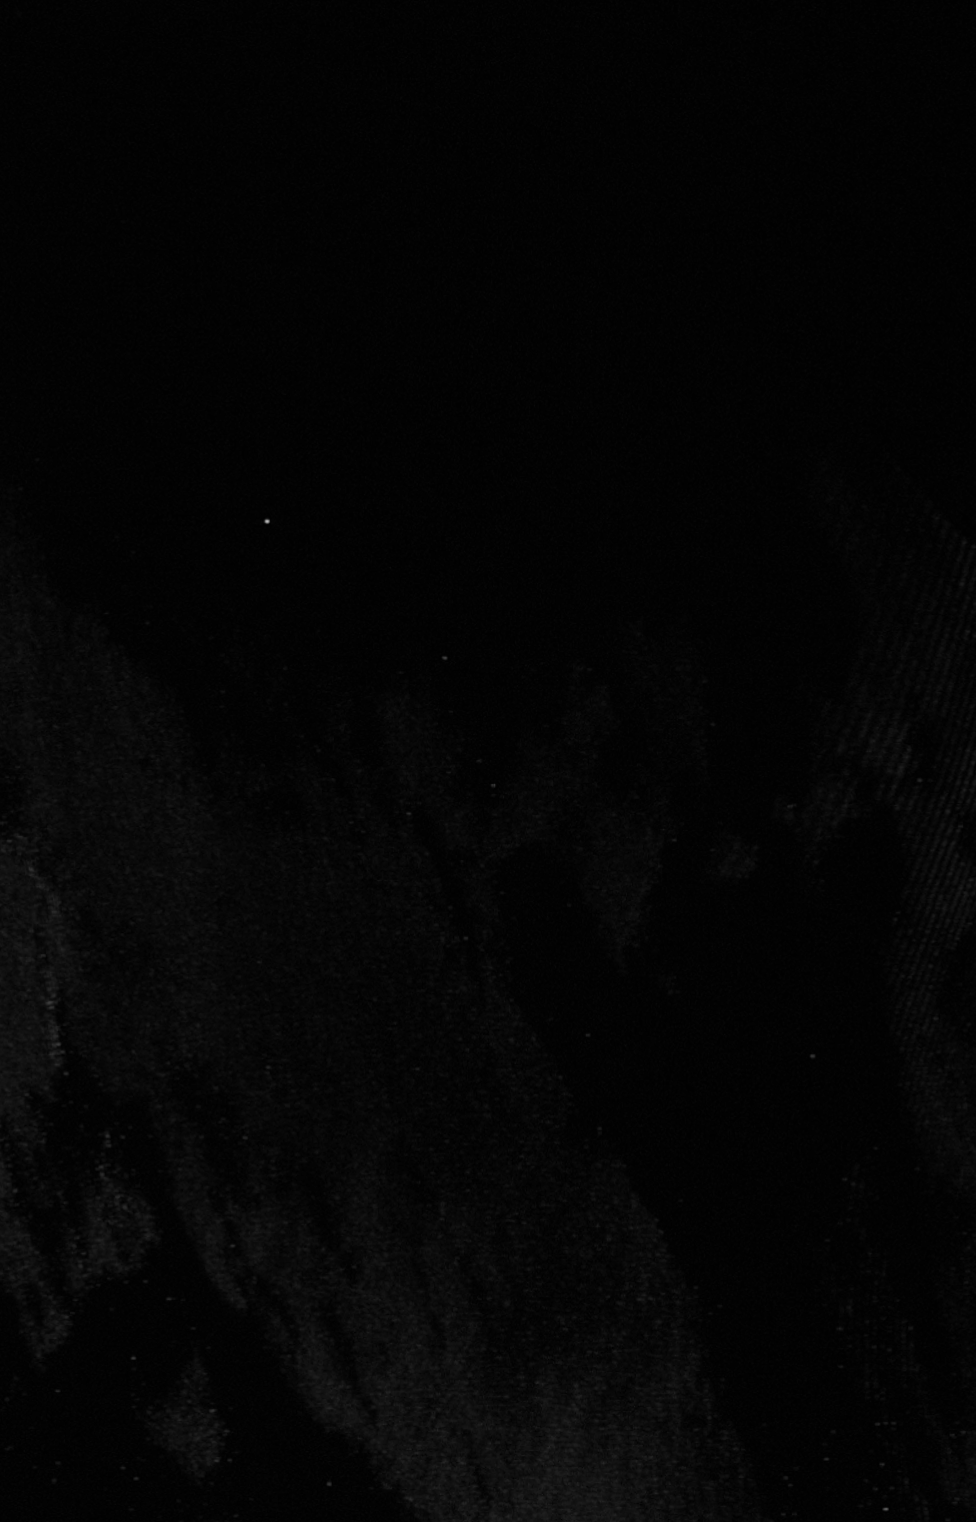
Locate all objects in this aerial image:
river: (228, 820)

